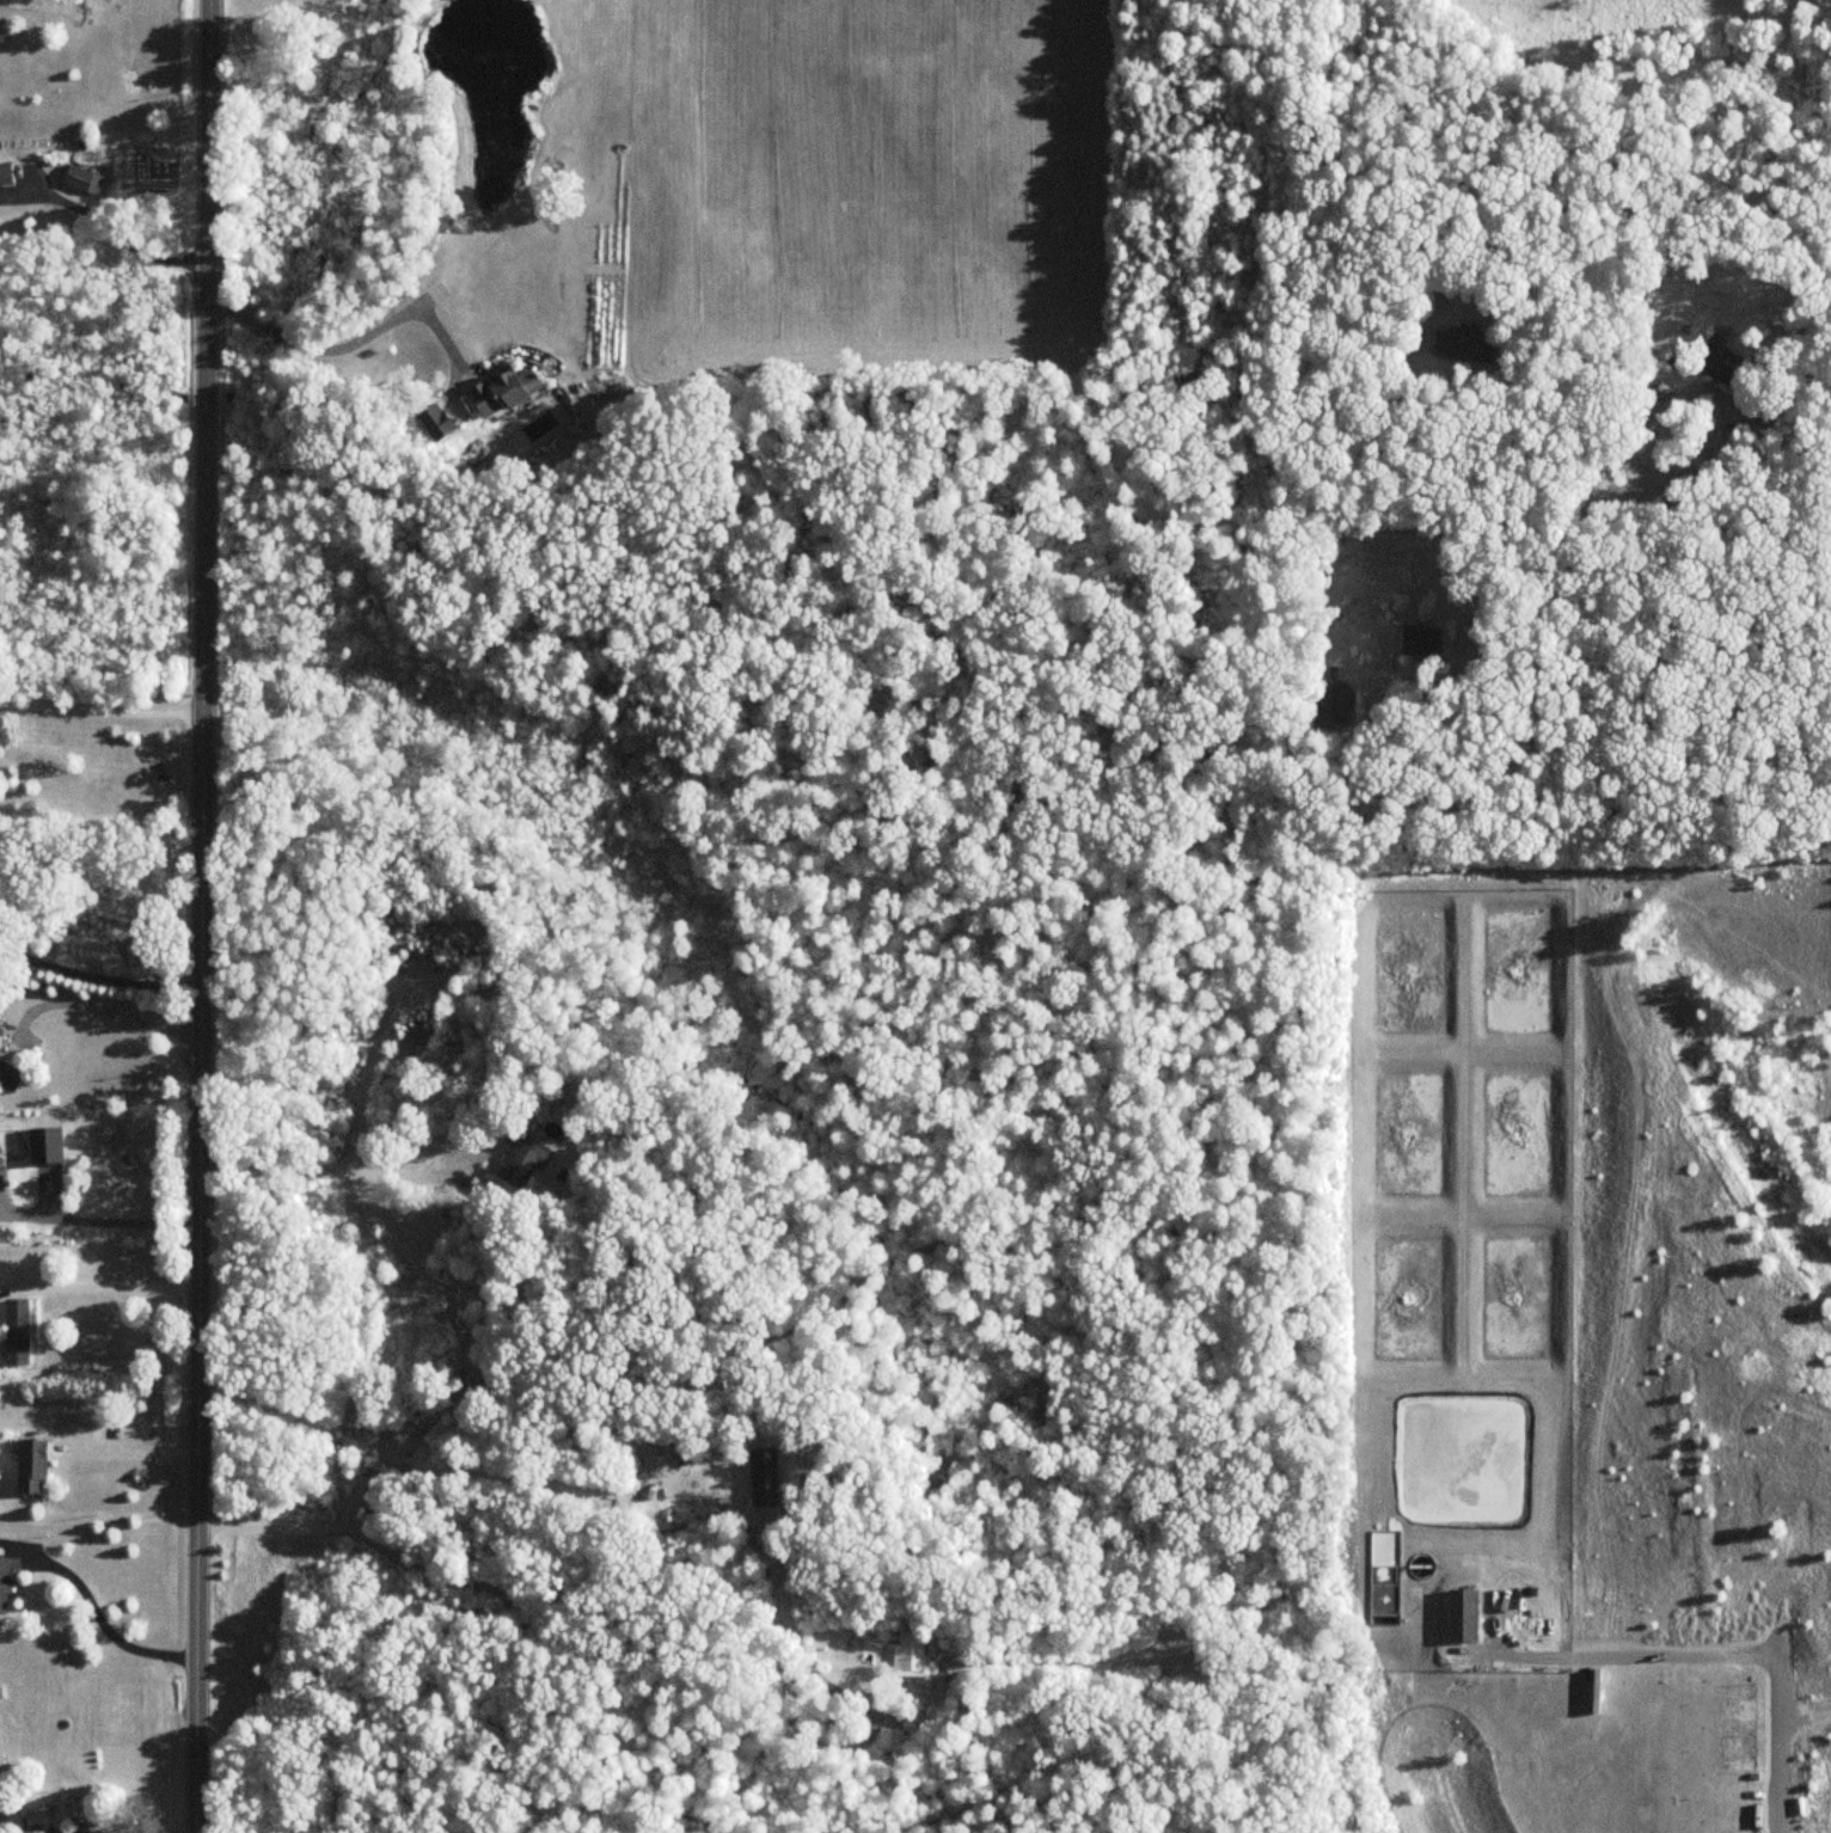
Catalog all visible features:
building: (5, 173)
building: (82, 179)
road: (136, 247)
road: (1417, 339)
road: (344, 344)
building: (1462, 344)
building: (1720, 363)
building: (501, 392)
road: (1703, 400)
road: (1323, 415)
building: (434, 423)
building: (1420, 643)
building: (1331, 704)
road: (98, 707)
road: (198, 915)
road: (97, 976)
building: (442, 983)
road: (111, 1010)
building: (1, 1030)
building: (10, 1075)
road: (347, 1145)
building: (522, 1158)
road: (409, 1164)
road: (99, 1219)
road: (116, 1285)
building: (17, 1330)
road: (134, 1445)
building: (31, 1465)
building: (2, 1583)
building: (1462, 1614)
road: (672, 1618)
road: (102, 1619)
building: (910, 1653)
road: (1606, 1663)
road: (1805, 1711)
building: (904, 1729)
road: (1778, 1740)
building: (88, 1831)
building: (32, 1832)

